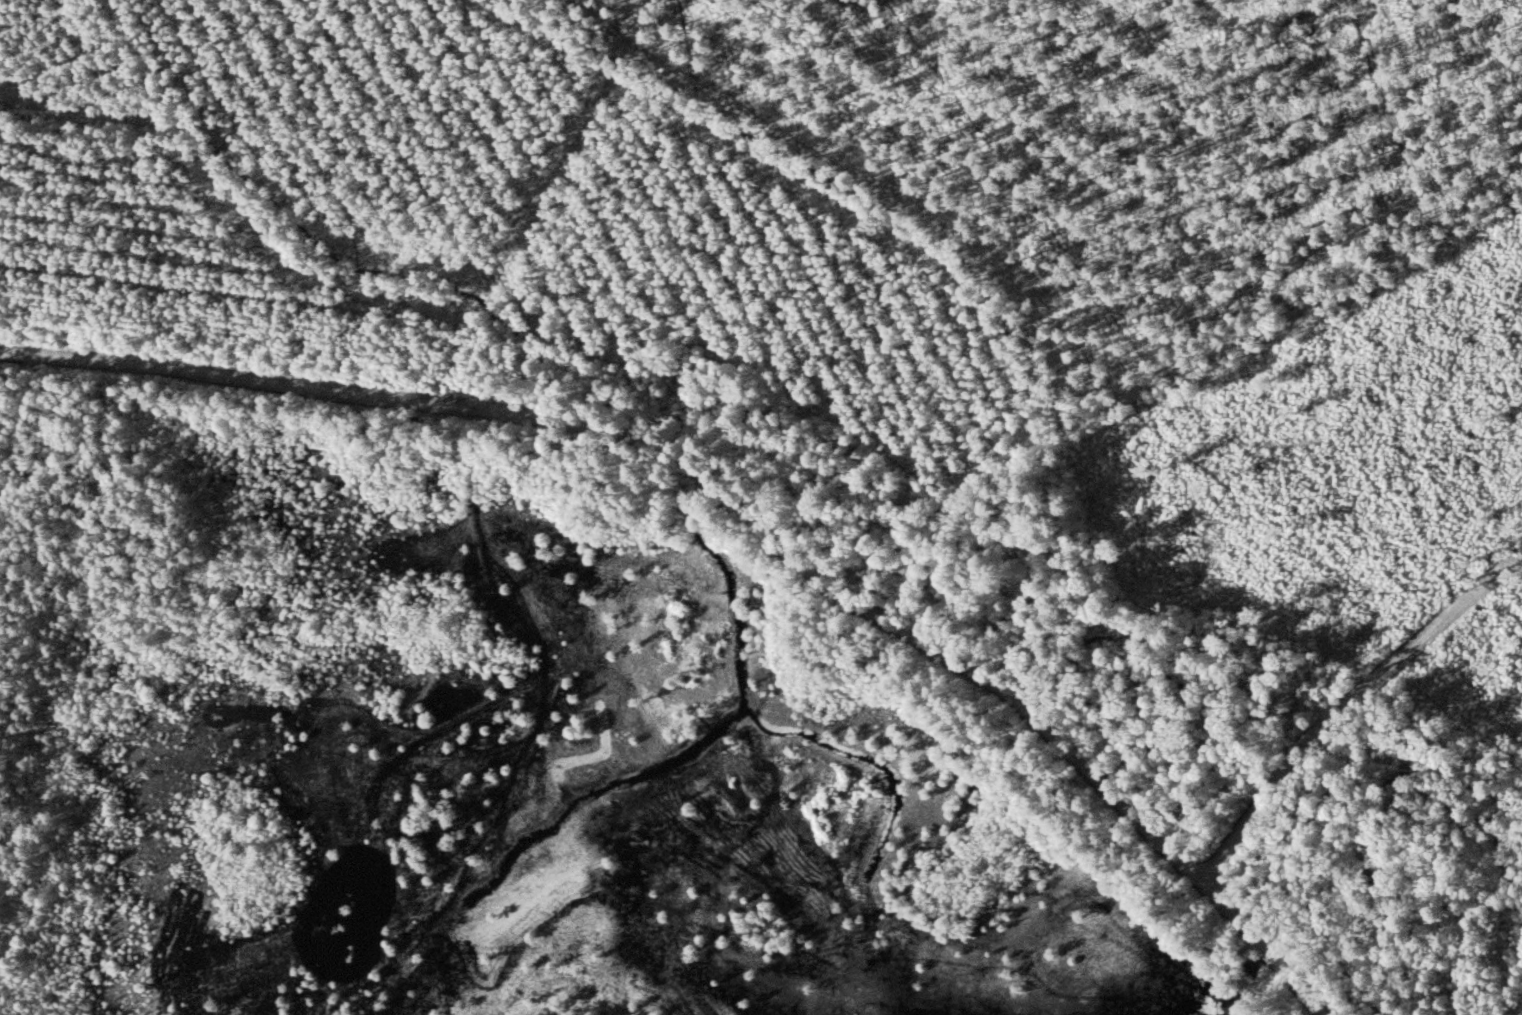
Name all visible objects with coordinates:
road: (827, 581)
road: (1264, 943)

